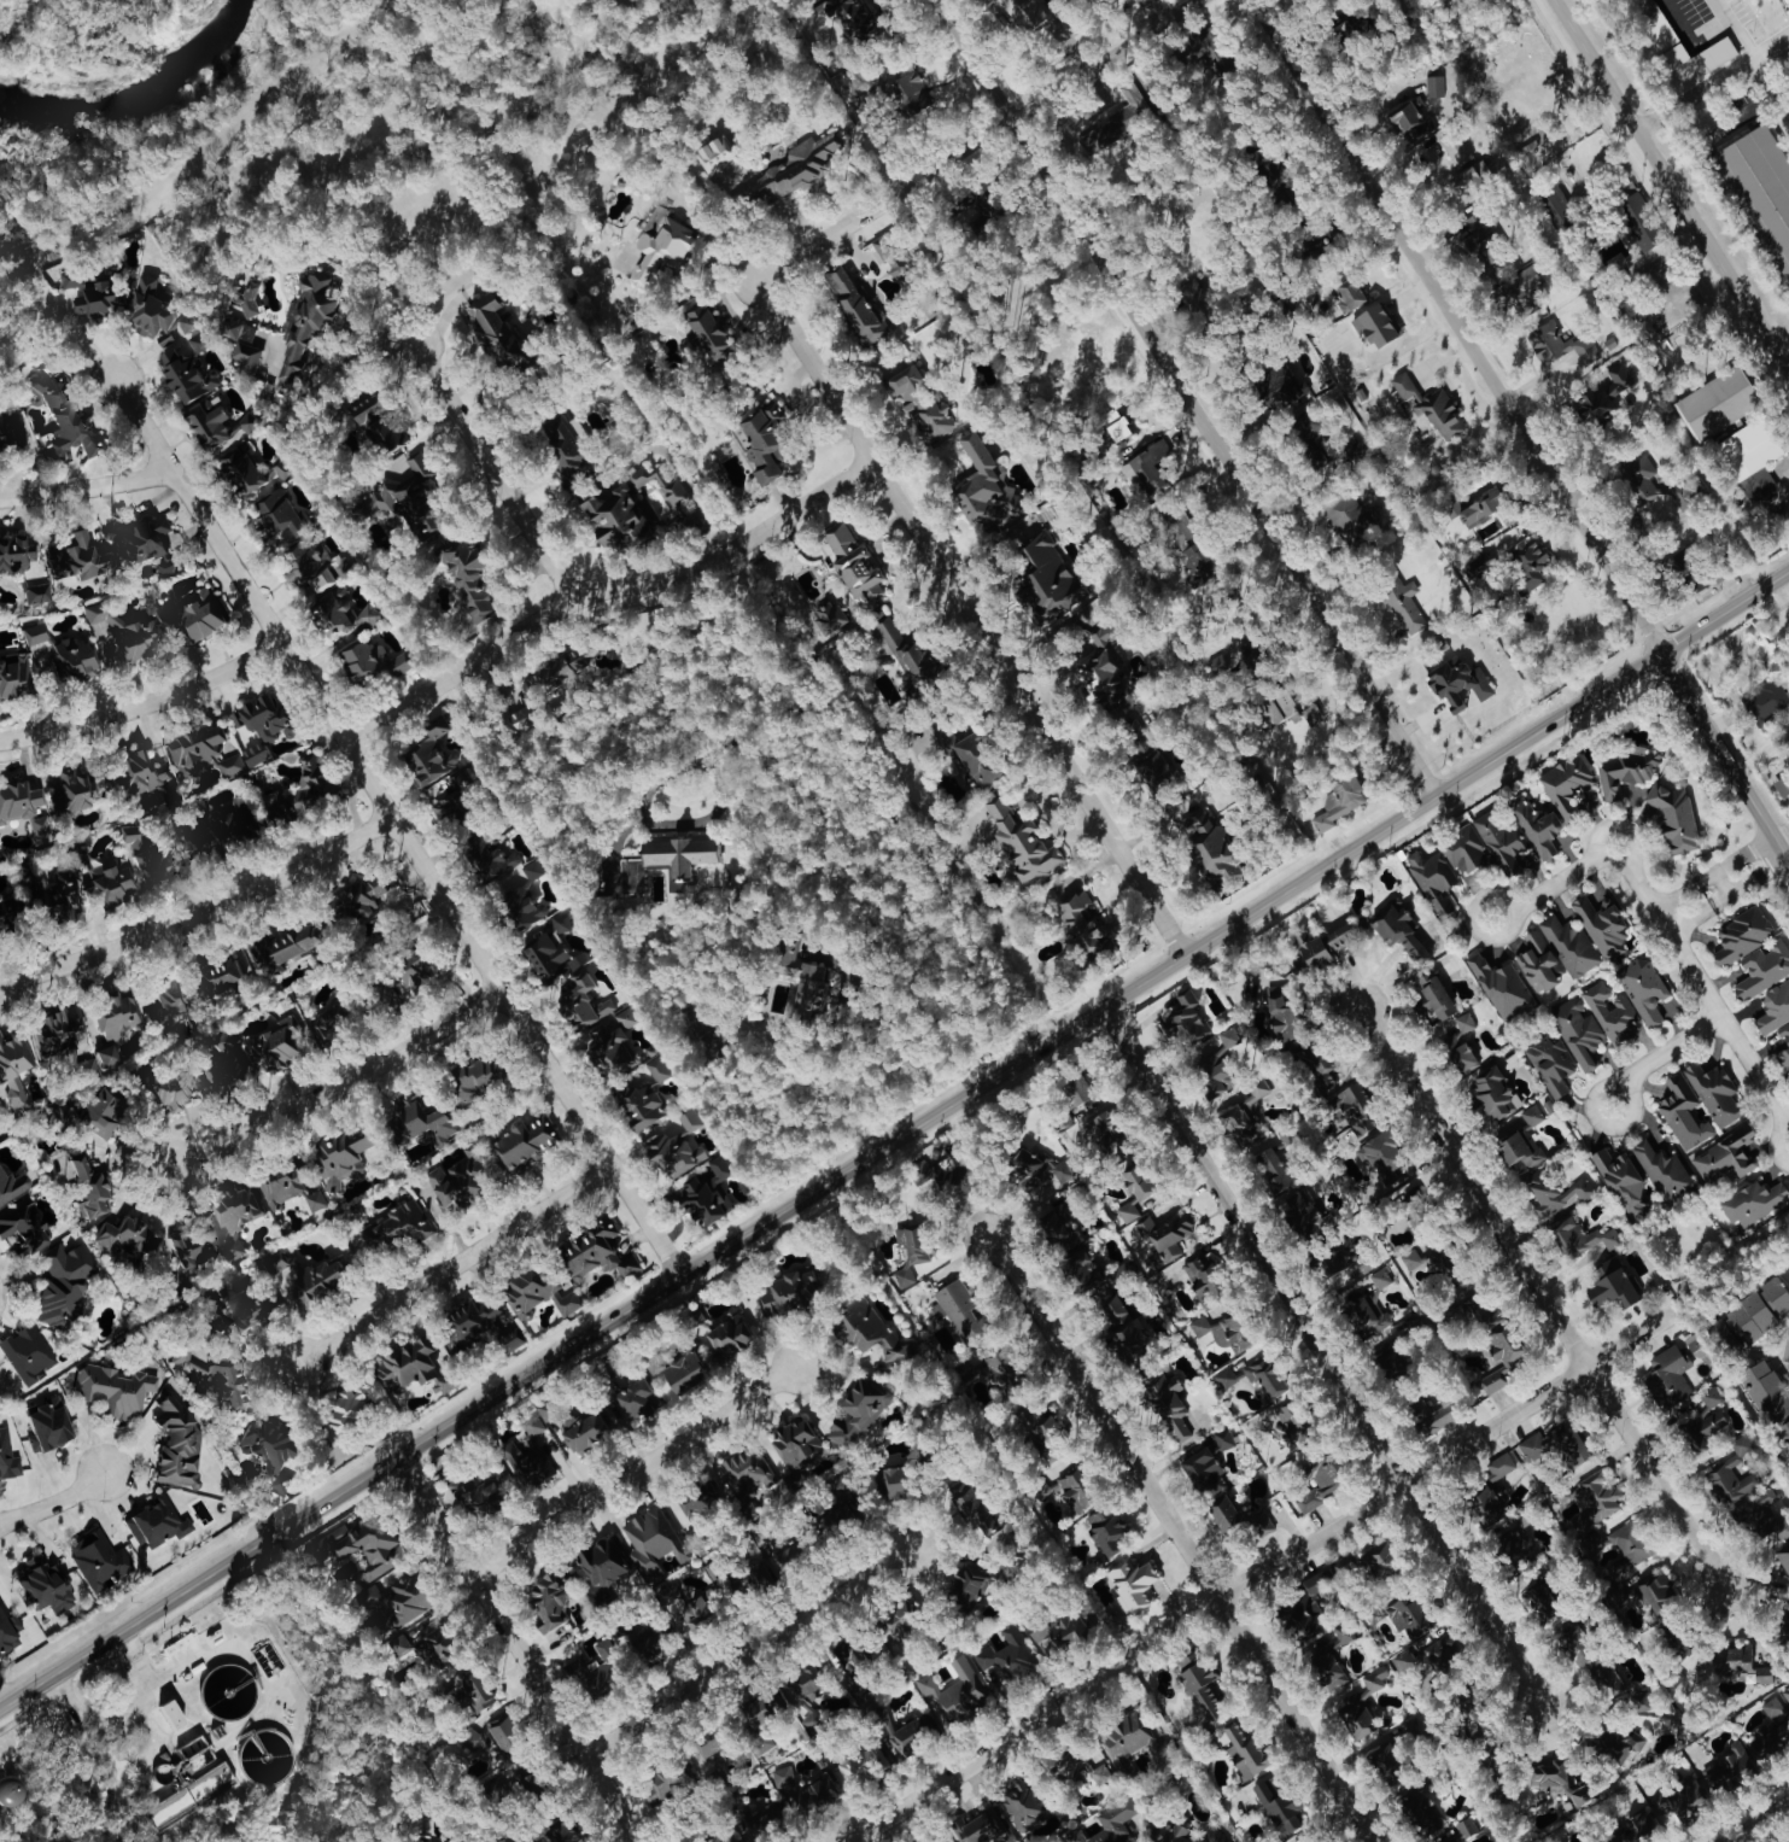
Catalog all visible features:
building: (1787, 1)
building: (1022, 12)
building: (842, 16)
parking lot: (1695, 29)
road: (1688, 42)
building: (1714, 54)
road: (1752, 59)
building: (864, 81)
road: (1712, 82)
building: (1436, 84)
road: (1781, 88)
building: (908, 93)
parking lot: (1760, 93)
river: (135, 94)
building: (1130, 95)
road: (1754, 106)
building: (1409, 119)
building: (1097, 136)
road: (984, 139)
building: (1457, 150)
building: (713, 153)
building: (791, 168)
building: (1468, 180)
road: (1671, 187)
building: (1759, 191)
building: (1559, 205)
building: (1639, 220)
building: (660, 245)
building: (71, 276)
building: (1524, 290)
building: (1347, 292)
building: (99, 299)
building: (246, 299)
building: (852, 303)
building: (157, 309)
building: (303, 323)
building: (1375, 324)
road: (1461, 324)
building: (490, 331)
building: (708, 333)
building: (241, 341)
building: (1561, 343)
building: (185, 373)
building: (901, 380)
building: (1279, 386)
building: (1602, 393)
road: (1191, 397)
building: (1717, 403)
building: (1430, 404)
building: (59, 416)
building: (929, 417)
building: (373, 425)
building: (207, 426)
building: (12, 437)
building: (761, 440)
building: (1753, 446)
building: (565, 452)
road: (491, 467)
building: (239, 469)
building: (1147, 470)
building: (1641, 478)
road: (1787, 480)
building: (981, 484)
building: (1758, 484)
building: (666, 486)
road: (84, 487)
building: (401, 501)
building: (1474, 507)
building: (274, 509)
building: (612, 516)
building: (1350, 516)
building: (139, 537)
building: (13, 551)
building: (77, 555)
building: (854, 562)
building: (1195, 562)
building: (1527, 562)
building: (311, 565)
building: (466, 583)
road: (607, 592)
building: (1403, 603)
building: (343, 612)
building: (191, 613)
building: (830, 615)
road: (975, 616)
building: (119, 631)
building: (34, 633)
building: (901, 645)
building: (68, 660)
building: (1218, 662)
building: (1105, 668)
building: (13, 673)
building: (1457, 680)
building: (1766, 700)
road: (145, 707)
building: (1276, 707)
building: (1312, 713)
building: (259, 714)
building: (194, 745)
building: (425, 750)
road: (855, 750)
building: (242, 758)
building: (976, 759)
road: (1723, 760)
building: (1152, 764)
building: (1626, 767)
building: (134, 772)
building: (1566, 782)
building: (69, 791)
building: (449, 797)
building: (1338, 797)
building: (17, 799)
building: (1538, 825)
road: (397, 826)
road: (1615, 828)
building: (1204, 838)
building: (1501, 842)
building: (1023, 843)
building: (1463, 847)
building: (490, 854)
building: (76, 856)
building: (667, 858)
building: (142, 862)
road: (1711, 873)
road: (1567, 875)
building: (1434, 879)
road: (1725, 881)
building: (78, 887)
building: (362, 896)
road: (1725, 896)
building: (519, 899)
road: (1512, 906)
road: (201, 916)
building: (1082, 919)
building: (1602, 925)
building: (1399, 929)
building: (1742, 932)
building: (282, 942)
building: (1571, 945)
building: (1322, 946)
building: (546, 947)
building: (1538, 960)
building: (1762, 967)
building: (408, 971)
building: (221, 973)
building: (805, 973)
building: (1502, 984)
building: (1644, 988)
road: (1705, 994)
building: (1434, 996)
building: (583, 1002)
building: (165, 1006)
building: (1775, 1007)
building: (1612, 1012)
building: (626, 1016)
building: (329, 1018)
building: (1187, 1018)
road: (900, 1021)
building: (1464, 1021)
building: (51, 1029)
building: (105, 1031)
building: (1580, 1031)
building: (1785, 1036)
building: (277, 1041)
building: (613, 1046)
road: (1667, 1048)
building: (12, 1053)
building: (1457, 1053)
building: (220, 1058)
building: (1214, 1060)
building: (1551, 1063)
building: (659, 1066)
building: (1321, 1071)
building: (468, 1076)
road: (334, 1084)
road: (1619, 1086)
building: (165, 1090)
building: (1714, 1090)
building: (1492, 1092)
building: (1070, 1098)
building: (18, 1101)
building: (638, 1103)
building: (1355, 1107)
building: (90, 1110)
building: (1683, 1110)
building: (1245, 1111)
building: (690, 1117)
building: (416, 1122)
building: (1106, 1134)
building: (1520, 1138)
road: (893, 1139)
building: (518, 1141)
road: (1772, 1142)
building: (671, 1152)
building: (339, 1156)
building: (1384, 1158)
building: (1271, 1168)
building: (920, 1169)
building: (1665, 1170)
building: (1621, 1180)
building: (80, 1181)
building: (10, 1183)
building: (281, 1183)
building: (451, 1185)
building: (1133, 1189)
building: (707, 1191)
building: (1556, 1193)
building: (316, 1199)
building: (1753, 1200)
building: (1302, 1209)
building: (233, 1214)
building: (397, 1222)
building: (1058, 1224)
building: (21, 1226)
building: (1167, 1234)
building: (1580, 1236)
building: (125, 1238)
building: (189, 1245)
building: (595, 1251)
building: (911, 1251)
road: (954, 1252)
building: (1411, 1257)
building: (1328, 1259)
building: (275, 1261)
road: (455, 1264)
building: (1081, 1271)
building: (1199, 1277)
building: (316, 1279)
building: (62, 1283)
building: (1609, 1283)
building: (525, 1288)
building: (785, 1291)
road: (1543, 1297)
building: (569, 1302)
building: (1369, 1304)
building: (959, 1306)
building: (247, 1311)
building: (1752, 1314)
building: (1119, 1318)
building: (467, 1321)
building: (1221, 1331)
building: (723, 1333)
building: (873, 1333)
building: (509, 1338)
building: (1787, 1347)
building: (1381, 1349)
building: (25, 1355)
road: (1322, 1356)
building: (1502, 1356)
building: (402, 1363)
building: (990, 1367)
building: (677, 1370)
building: (1672, 1370)
building: (209, 1374)
building: (1252, 1375)
building: (115, 1390)
building: (1767, 1393)
building: (633, 1398)
building: (1169, 1402)
building: (346, 1405)
building: (858, 1410)
building: (1431, 1414)
building: (1706, 1419)
building: (579, 1426)
building: (797, 1443)
building: (174, 1445)
building: (264, 1448)
building: (527, 1452)
building: (7, 1456)
building: (1206, 1458)
road: (636, 1468)
building: (743, 1470)
building: (1734, 1474)
building: (893, 1478)
building: (1317, 1483)
building: (470, 1489)
building: (1490, 1490)
building: (1069, 1491)
building: (695, 1504)
road: (57, 1505)
building: (974, 1508)
building: (1760, 1510)
building: (1222, 1511)
building: (1594, 1514)
building: (154, 1522)
building: (1105, 1528)
road: (1181, 1538)
building: (651, 1540)
building: (1632, 1542)
building: (1514, 1546)
building: (355, 1548)
building: (784, 1552)
building: (1784, 1557)
building: (97, 1559)
building: (1378, 1560)
building: (600, 1561)
road: (1259, 1571)
building: (756, 1575)
building: (1316, 1581)
building: (965, 1584)
building: (1132, 1584)
building: (43, 1585)
building: (1655, 1590)
building: (369, 1595)
building: (405, 1600)
building: (546, 1601)
building: (1539, 1602)
building: (686, 1609)
building: (1402, 1614)
building: (898, 1619)
building: (1298, 1620)
building: (1782, 1624)
building: (1056, 1628)
building: (8, 1632)
building: (638, 1642)
building: (421, 1648)
road: (520, 1648)
road: (748, 1649)
building: (848, 1654)
building: (1007, 1655)
road: (154, 1677)
building: (1374, 1678)
building: (1198, 1682)
building: (954, 1690)
building: (469, 1694)
building: (779, 1706)
building: (882, 1713)
building: (1355, 1715)
road: (103, 1720)
building: (1771, 1729)
building: (911, 1733)
building: (486, 1735)
building: (1123, 1737)
building: (705, 1744)
building: (1238, 1747)
building: (1381, 1759)
building: (861, 1765)
building: (1729, 1766)
building: (1078, 1768)
building: (1550, 1778)
building: (665, 1780)
building: (803, 1788)
building: (1686, 1795)
building: (1276, 1805)
building: (1021, 1806)
building: (1422, 1809)
building: (760, 1820)
road: (1760, 1823)
building: (977, 1824)
building: (1107, 1824)
building: (1638, 1826)
building: (1170, 1831)
building: (1455, 1831)
building: (426, 1840)
building: (713, 1840)
building: (946, 1841)

